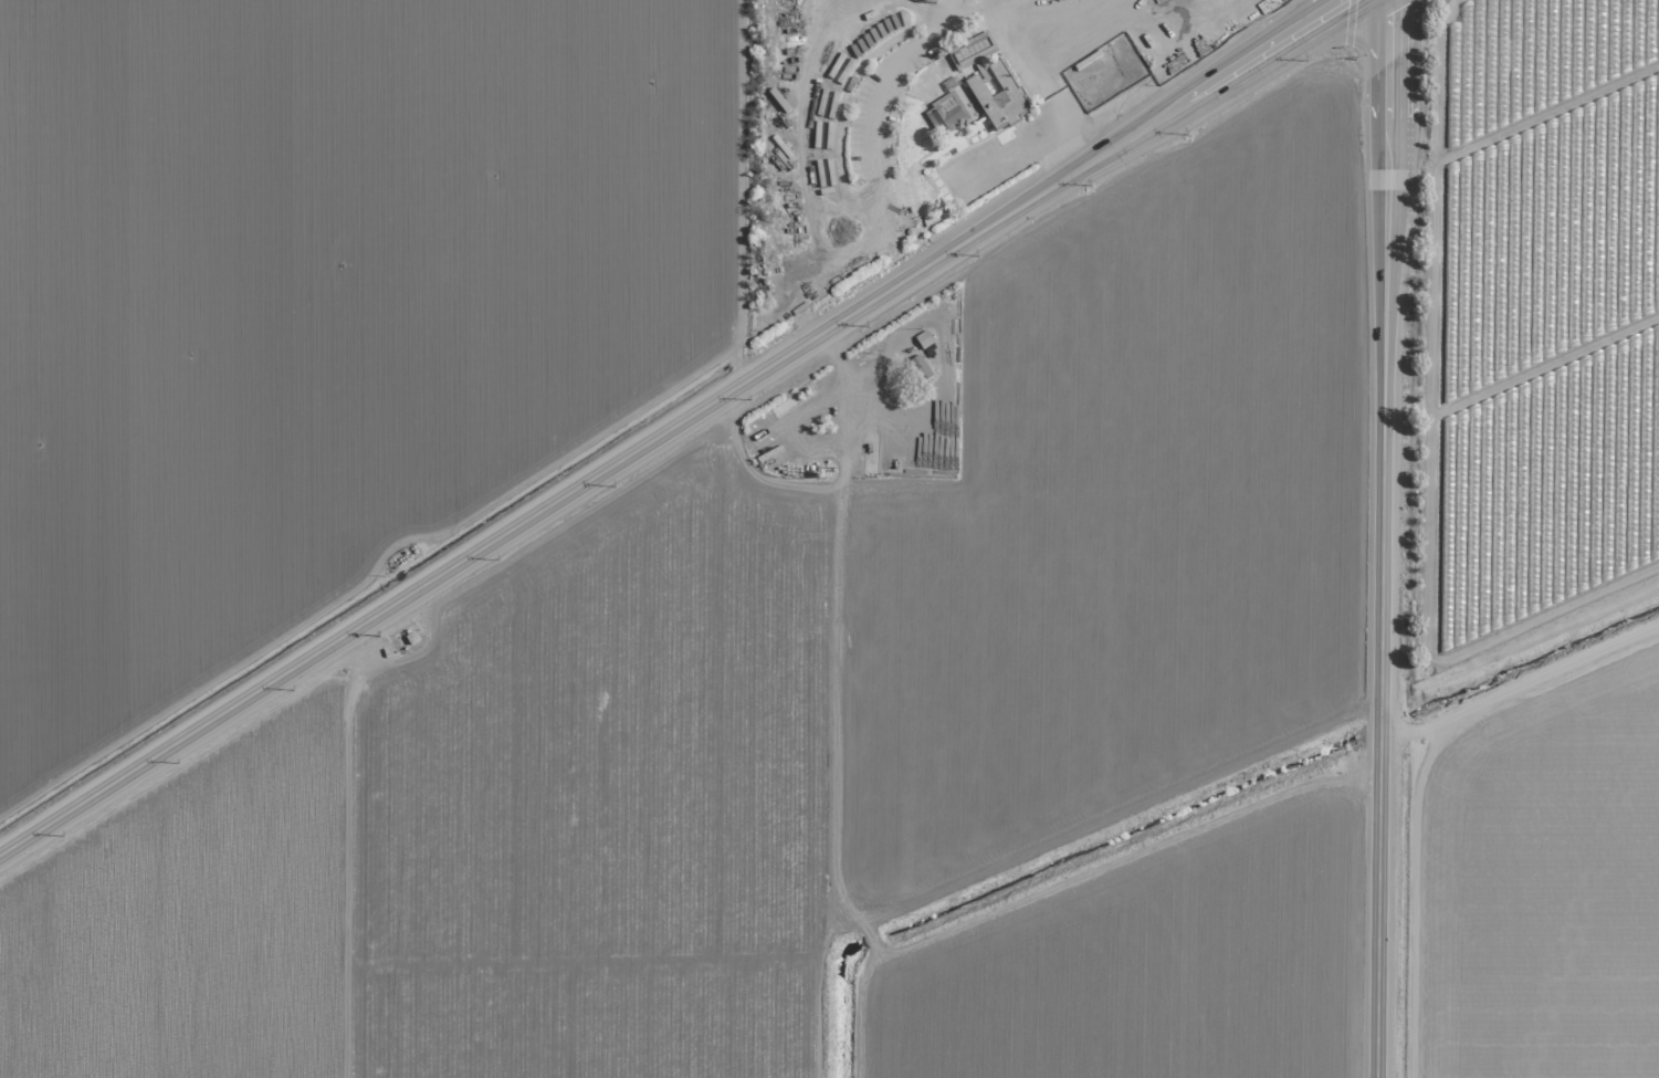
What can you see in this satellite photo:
building: (924, 0)
road: (1025, 35)
building: (970, 49)
building: (998, 97)
building: (945, 113)
road: (1071, 125)
road: (738, 189)
crop: (317, 305)
crop: (1535, 329)
building: (923, 338)
building: (918, 368)
road: (670, 425)
road: (1383, 538)
crop: (839, 728)
road: (1324, 762)
crop: (1537, 890)

